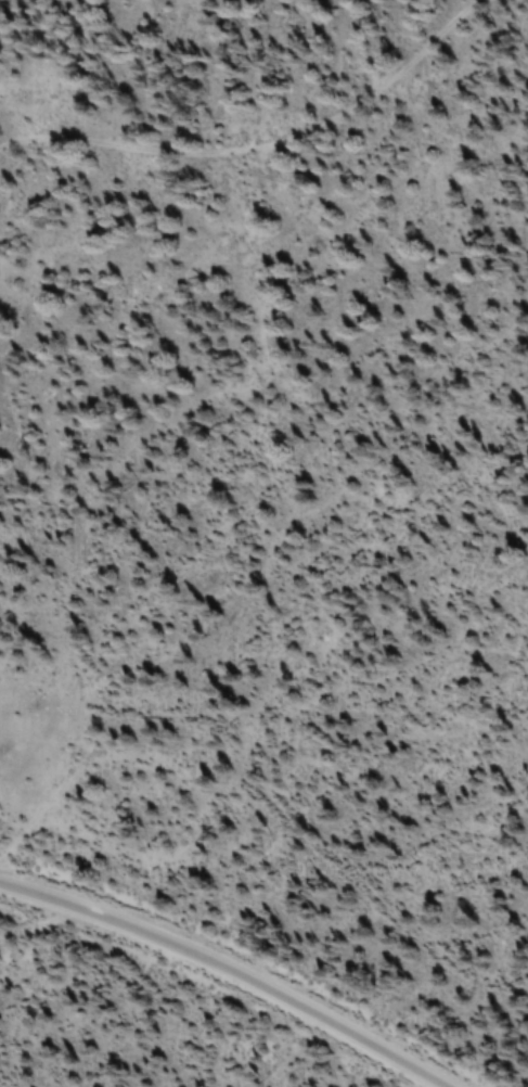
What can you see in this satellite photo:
road: (236, 968)

